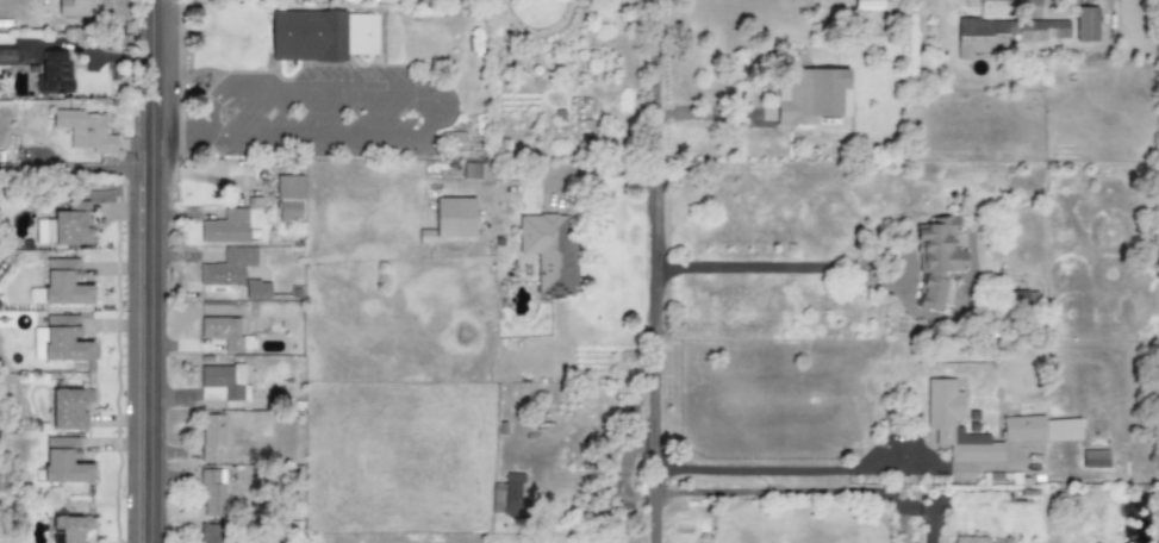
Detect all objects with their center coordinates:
building: (866, 5)
building: (82, 8)
building: (1085, 24)
building: (1004, 33)
building: (361, 35)
building: (304, 37)
building: (7, 55)
building: (52, 73)
road: (438, 92)
building: (810, 95)
road: (712, 114)
road: (180, 126)
building: (85, 131)
road: (208, 131)
road: (80, 151)
building: (454, 218)
building: (67, 226)
building: (226, 227)
building: (549, 251)
building: (936, 261)
road: (827, 266)
building: (229, 268)
road: (653, 270)
road: (156, 271)
building: (64, 282)
building: (256, 291)
building: (225, 333)
building: (60, 339)
building: (224, 383)
building: (67, 410)
building: (955, 426)
building: (1046, 430)
building: (212, 437)
building: (64, 462)
road: (774, 470)
road: (783, 492)
building: (213, 493)
building: (507, 495)
building: (66, 529)
building: (210, 533)
building: (972, 539)

